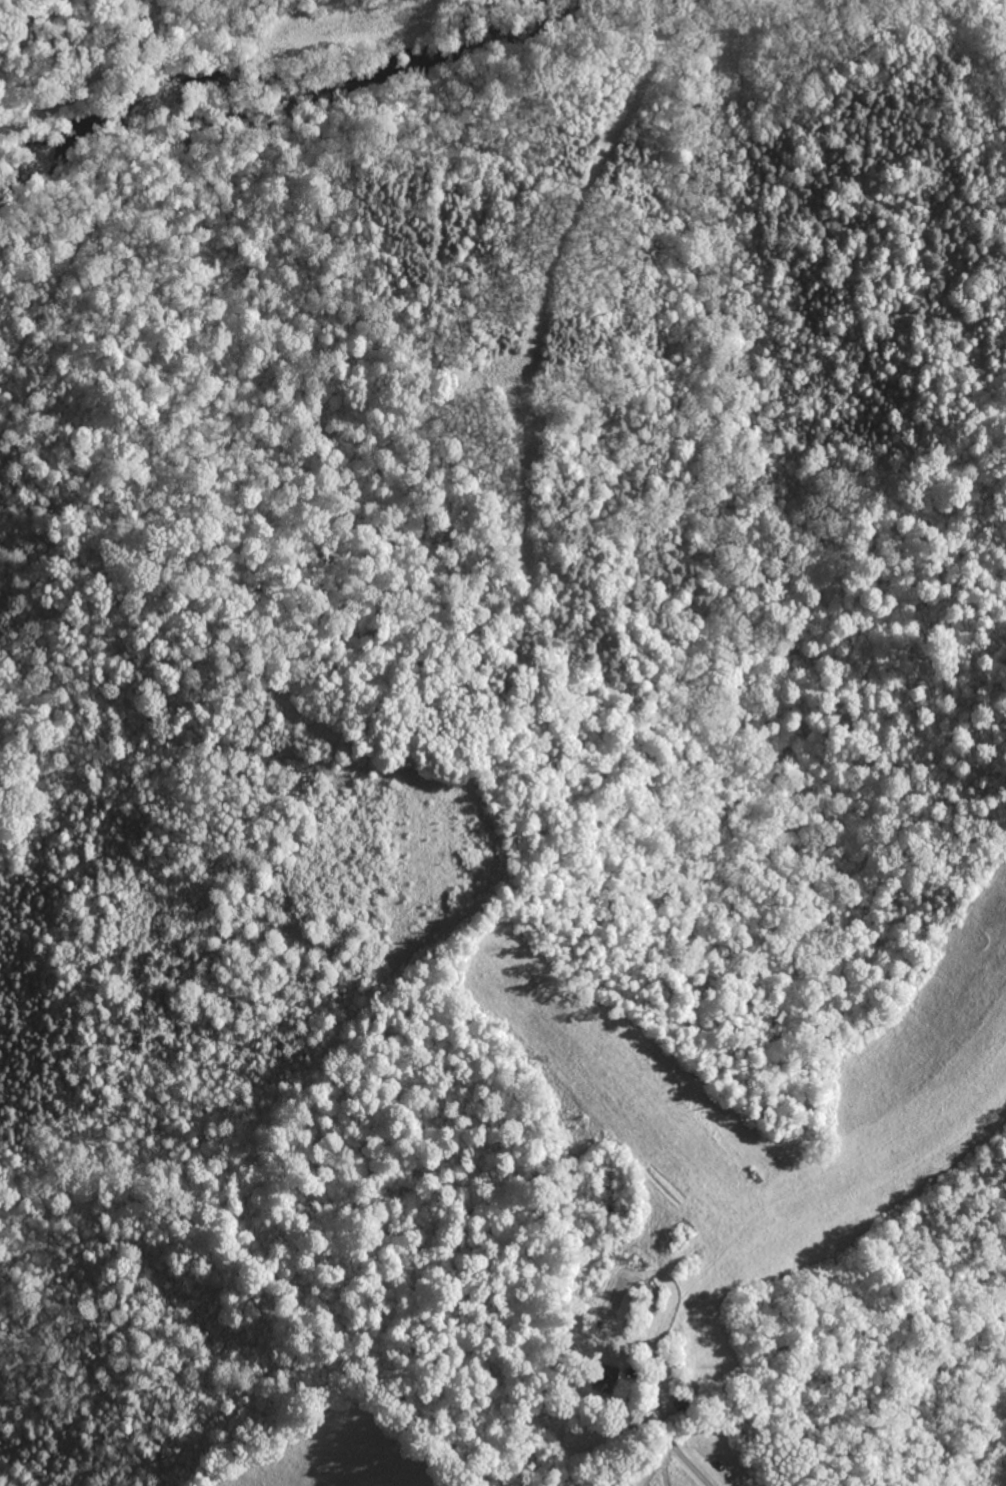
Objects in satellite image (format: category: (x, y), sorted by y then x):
road: (749, 1237)
building: (599, 1378)

